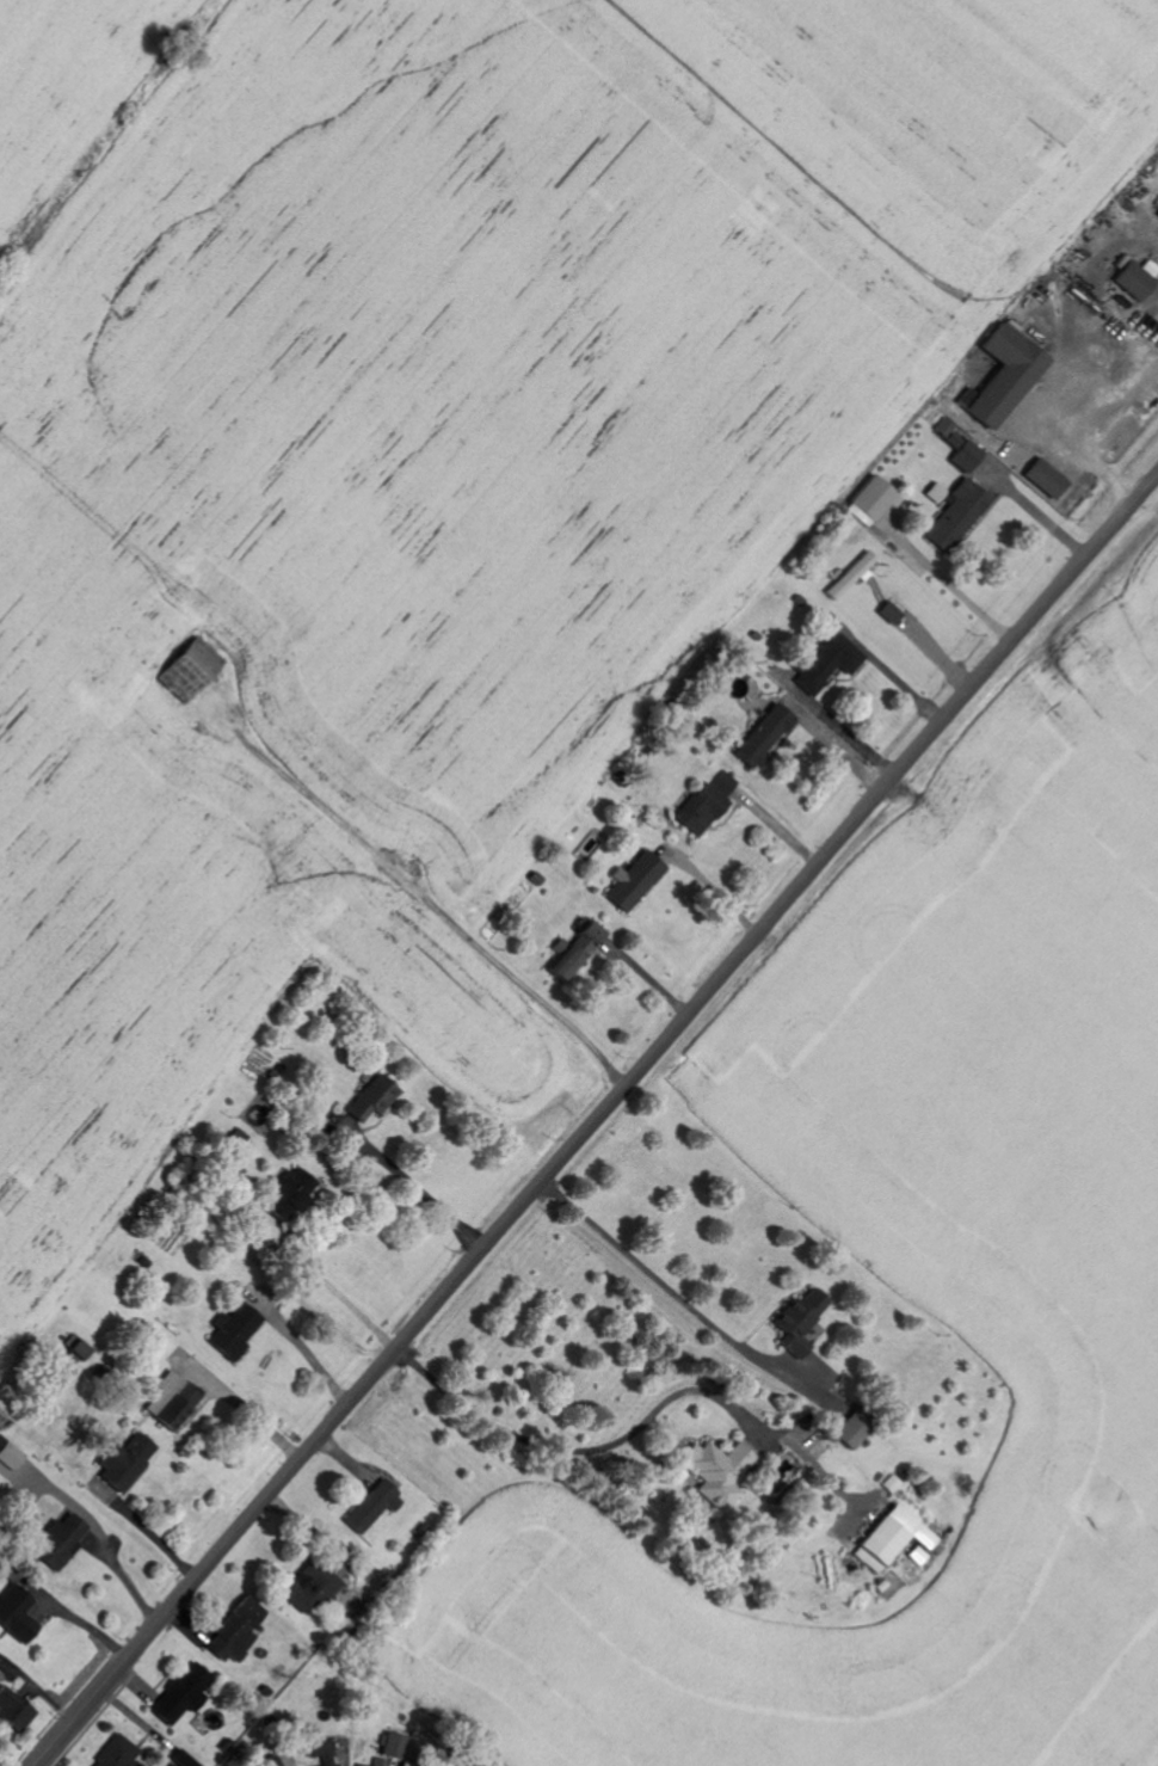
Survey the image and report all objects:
building: (1006, 376)
building: (949, 433)
building: (967, 456)
building: (1046, 479)
building: (937, 493)
building: (873, 502)
building: (957, 517)
building: (851, 577)
building: (827, 662)
building: (189, 671)
building: (764, 737)
building: (725, 782)
building: (701, 811)
road: (393, 860)
building: (633, 882)
road: (762, 928)
building: (573, 952)
building: (374, 1099)
building: (290, 1193)
building: (800, 1321)
building: (235, 1330)
building: (79, 1349)
building: (172, 1401)
building: (854, 1429)
road: (579, 1450)
building: (8, 1457)
building: (125, 1460)
building: (719, 1470)
road: (272, 1485)
building: (372, 1506)
building: (893, 1538)
building: (58, 1542)
building: (309, 1587)
building: (16, 1614)
building: (236, 1631)
road: (109, 1679)
building: (183, 1694)
building: (12, 1704)
building: (321, 1750)
building: (183, 1759)
building: (272, 1762)

